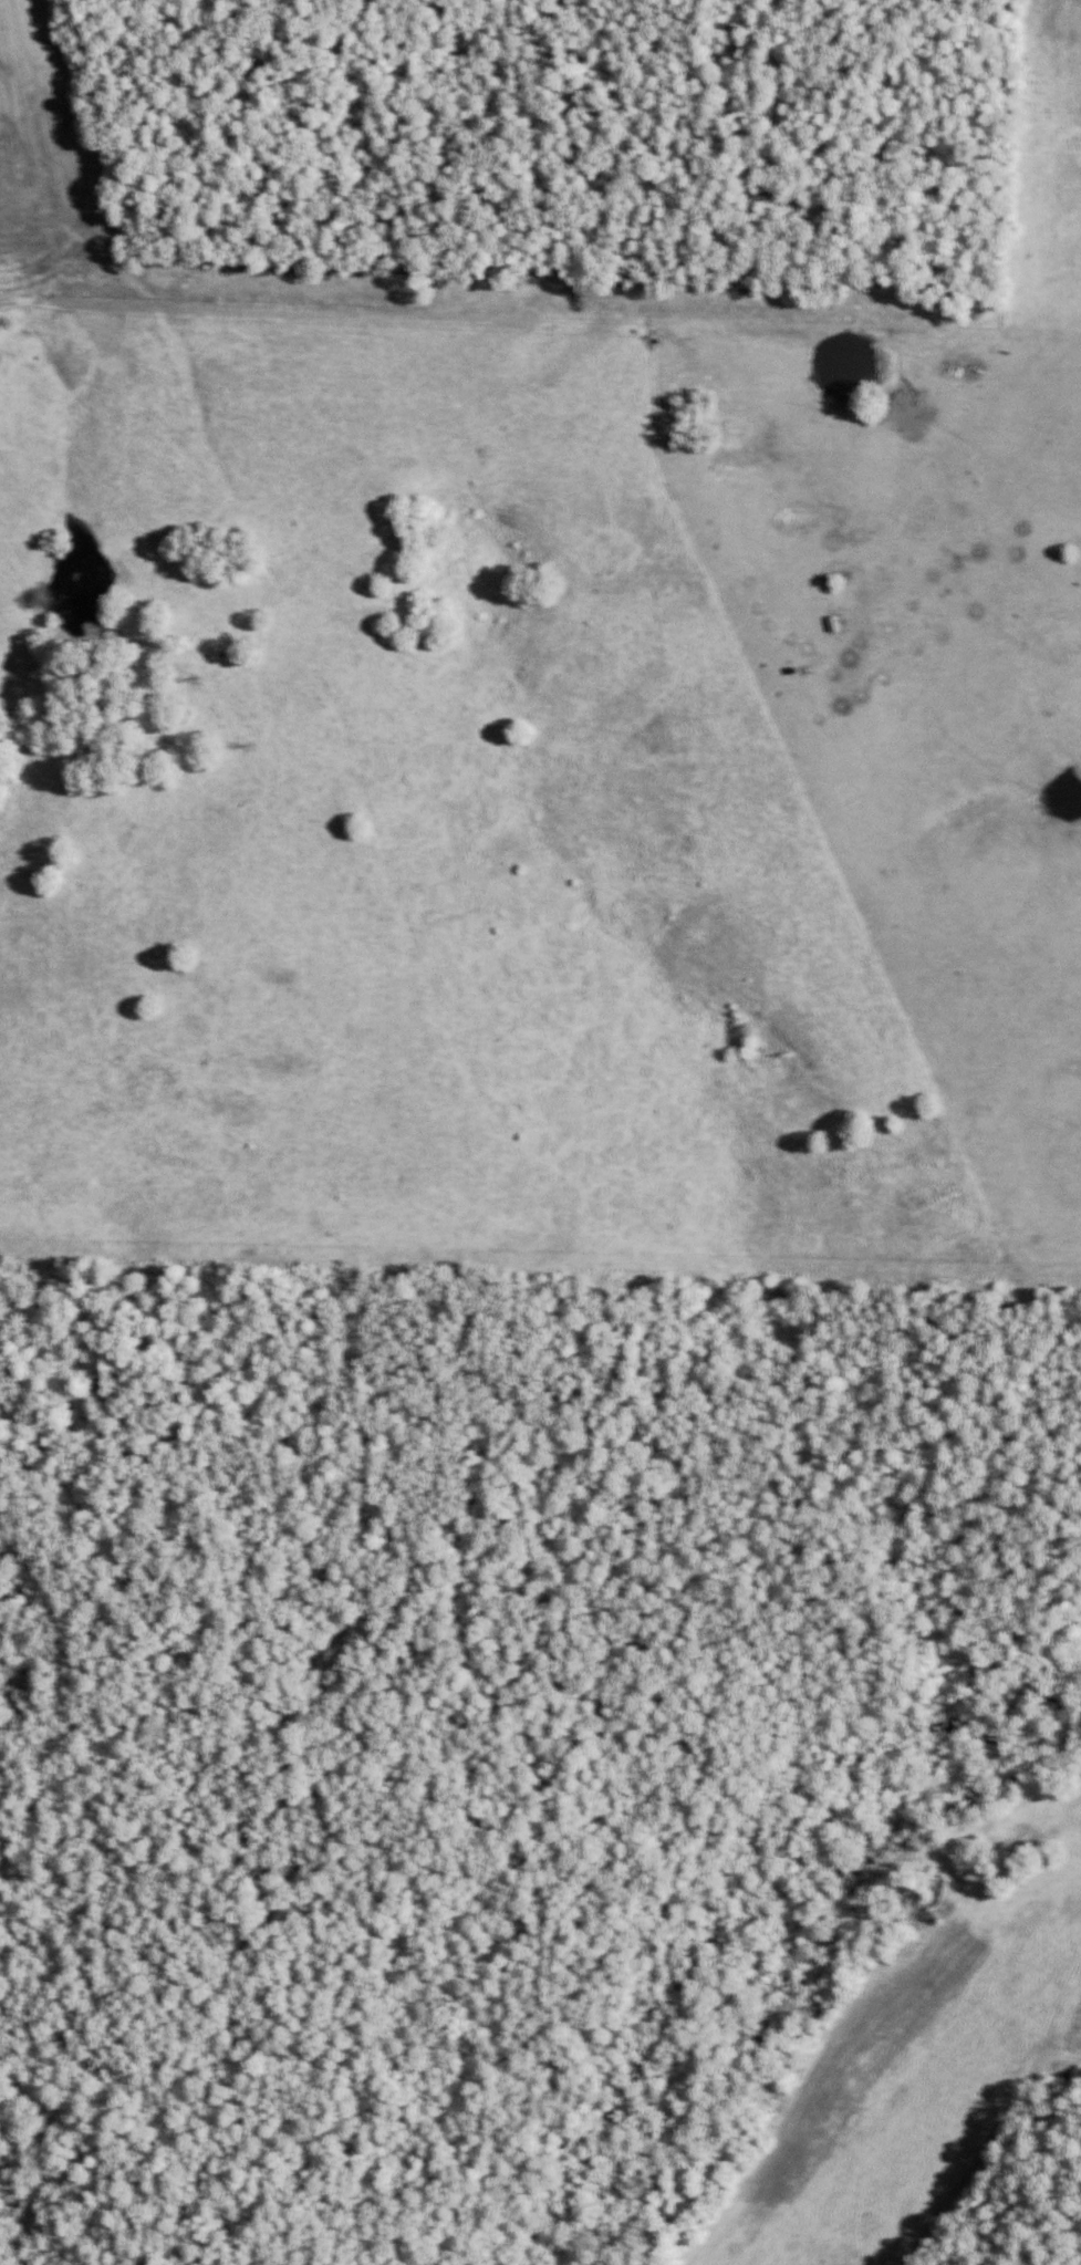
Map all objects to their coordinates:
building: (835, 630)

